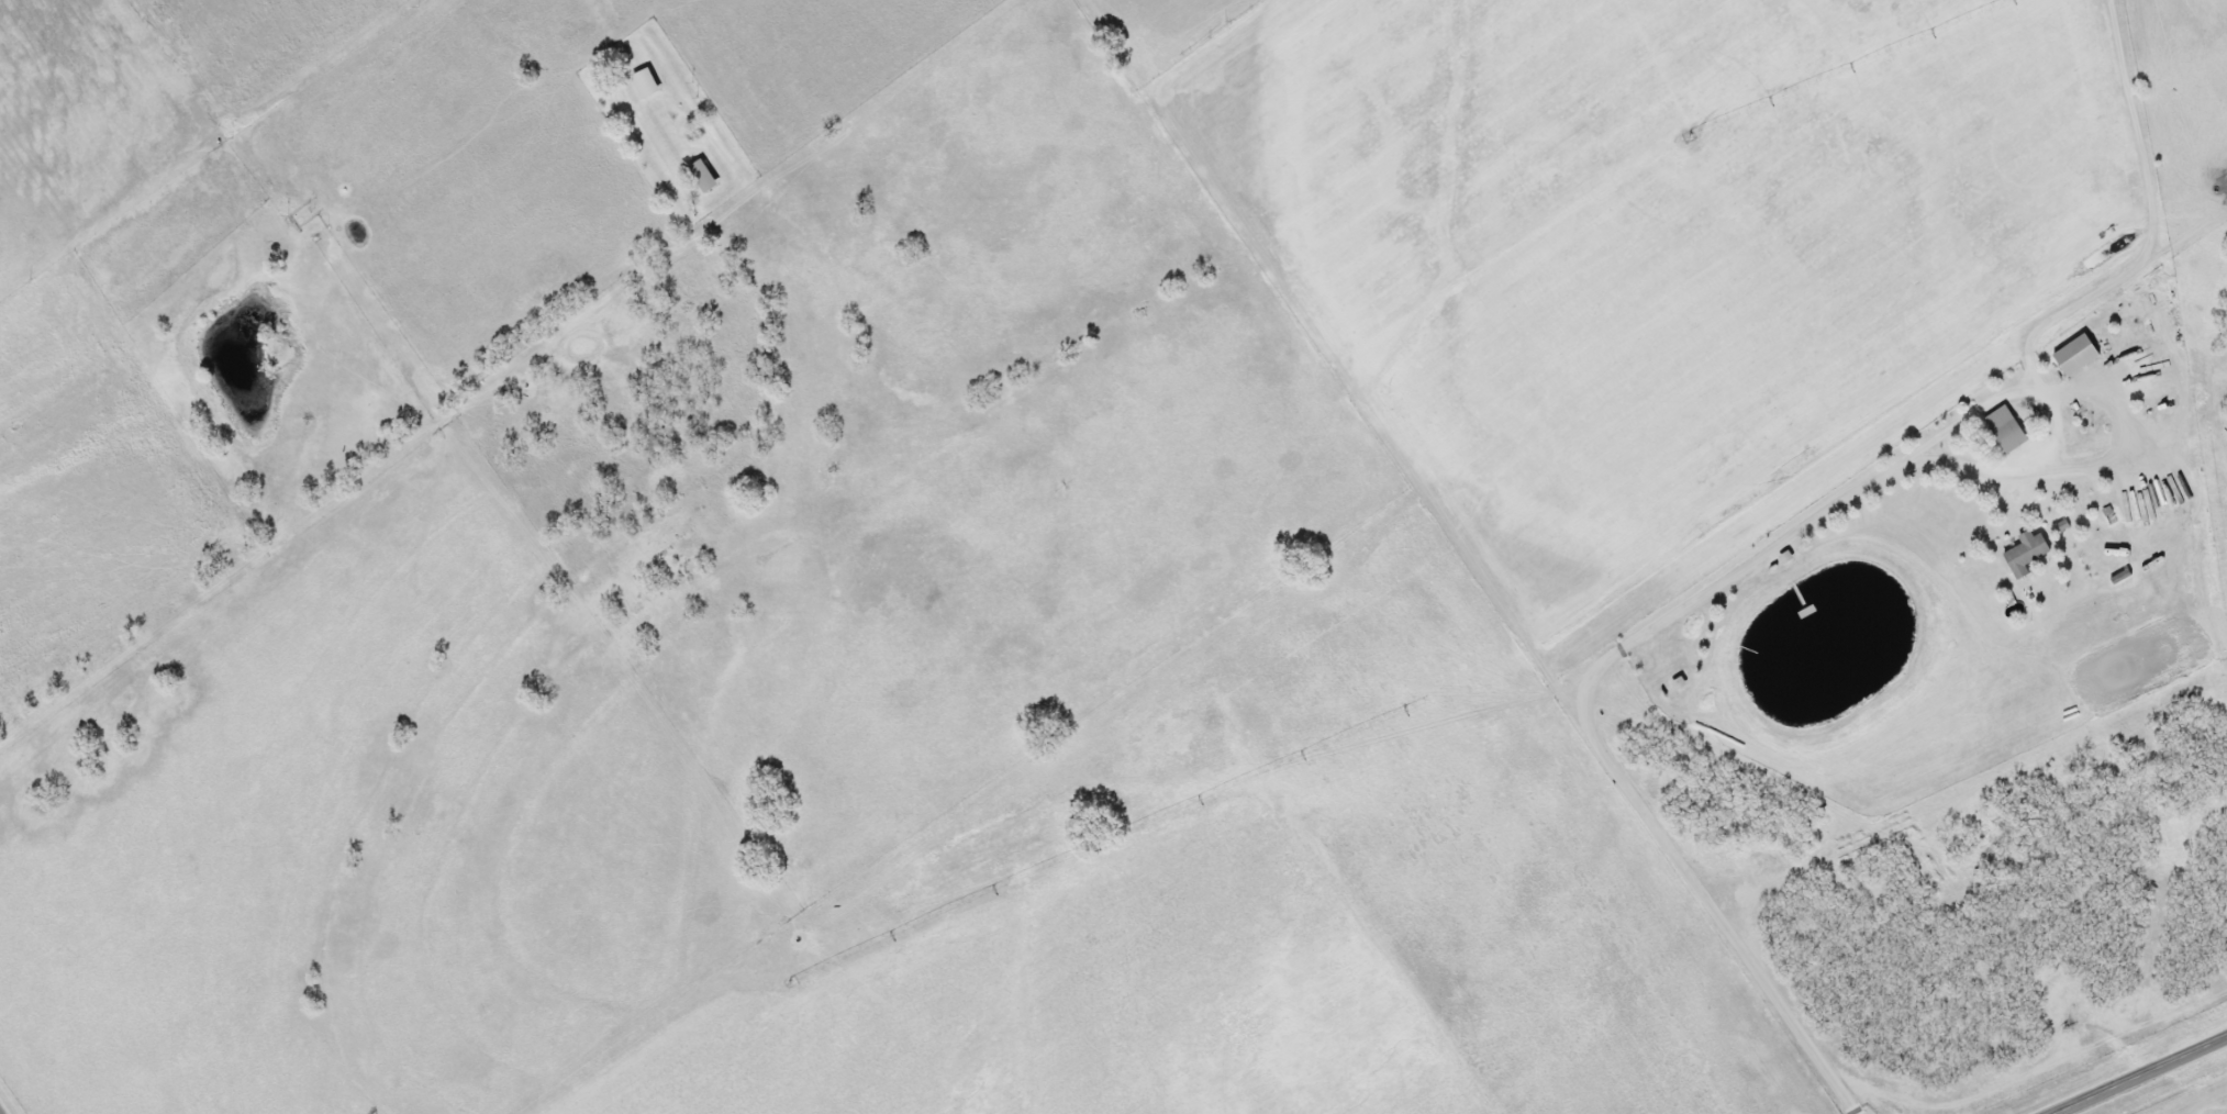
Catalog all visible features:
building: (648, 82)
building: (705, 176)
road: (397, 334)
building: (2070, 354)
road: (1951, 382)
building: (2001, 428)
road: (397, 458)
building: (2022, 553)
road: (1547, 665)
road: (1586, 694)
road: (2138, 1074)

